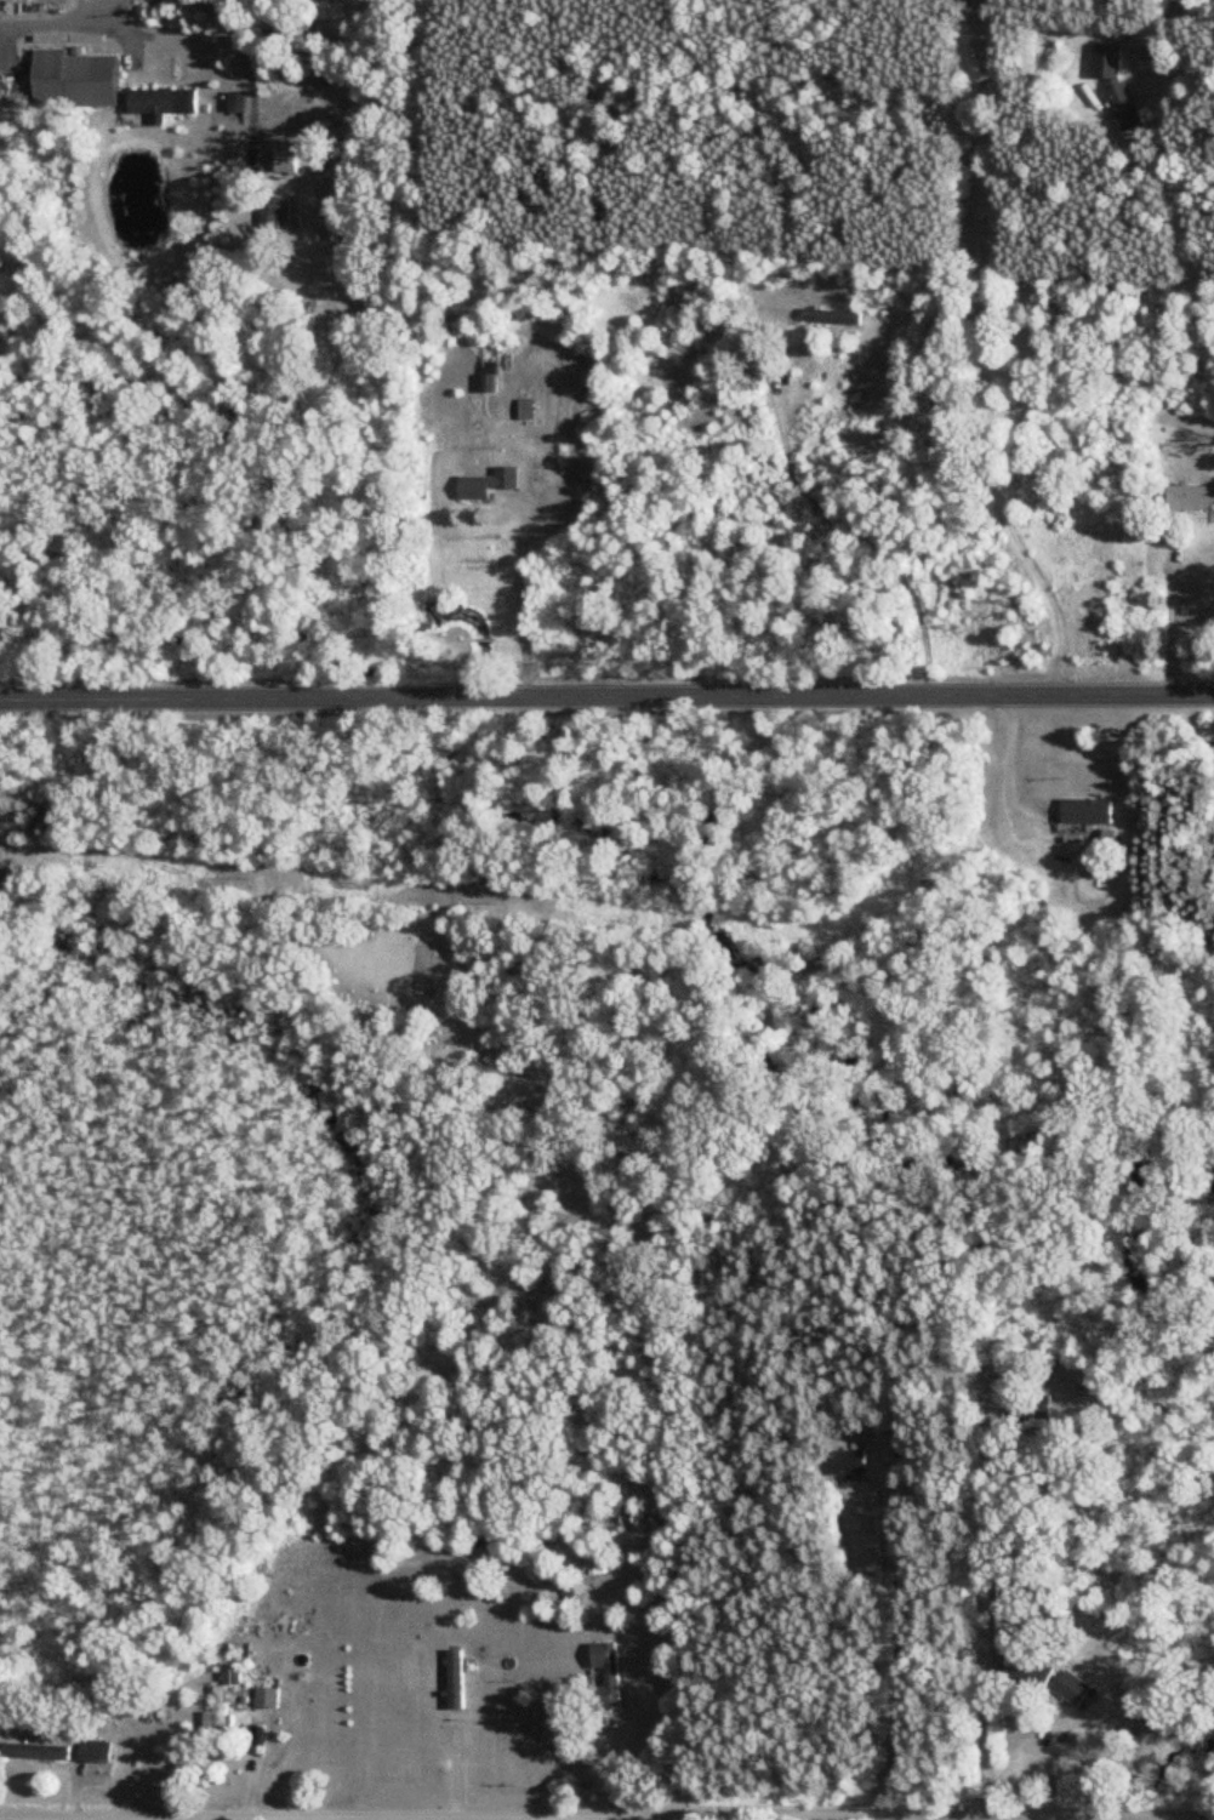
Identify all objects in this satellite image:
road: (61, 16)
road: (230, 38)
building: (1106, 64)
building: (74, 80)
building: (163, 102)
building: (275, 212)
building: (816, 270)
building: (831, 318)
road: (964, 349)
building: (525, 410)
building: (488, 485)
building: (1191, 498)
road: (514, 603)
road: (1168, 624)
road: (606, 696)
building: (1087, 811)
building: (1032, 1408)
building: (849, 1464)
road: (981, 1631)
road: (900, 1665)
building: (1026, 1670)
building: (608, 1674)
building: (455, 1681)
building: (1071, 1689)
building: (267, 1698)
building: (218, 1717)
building: (57, 1728)
building: (96, 1752)
building: (38, 1753)
road: (587, 1819)
road: (705, 1819)

